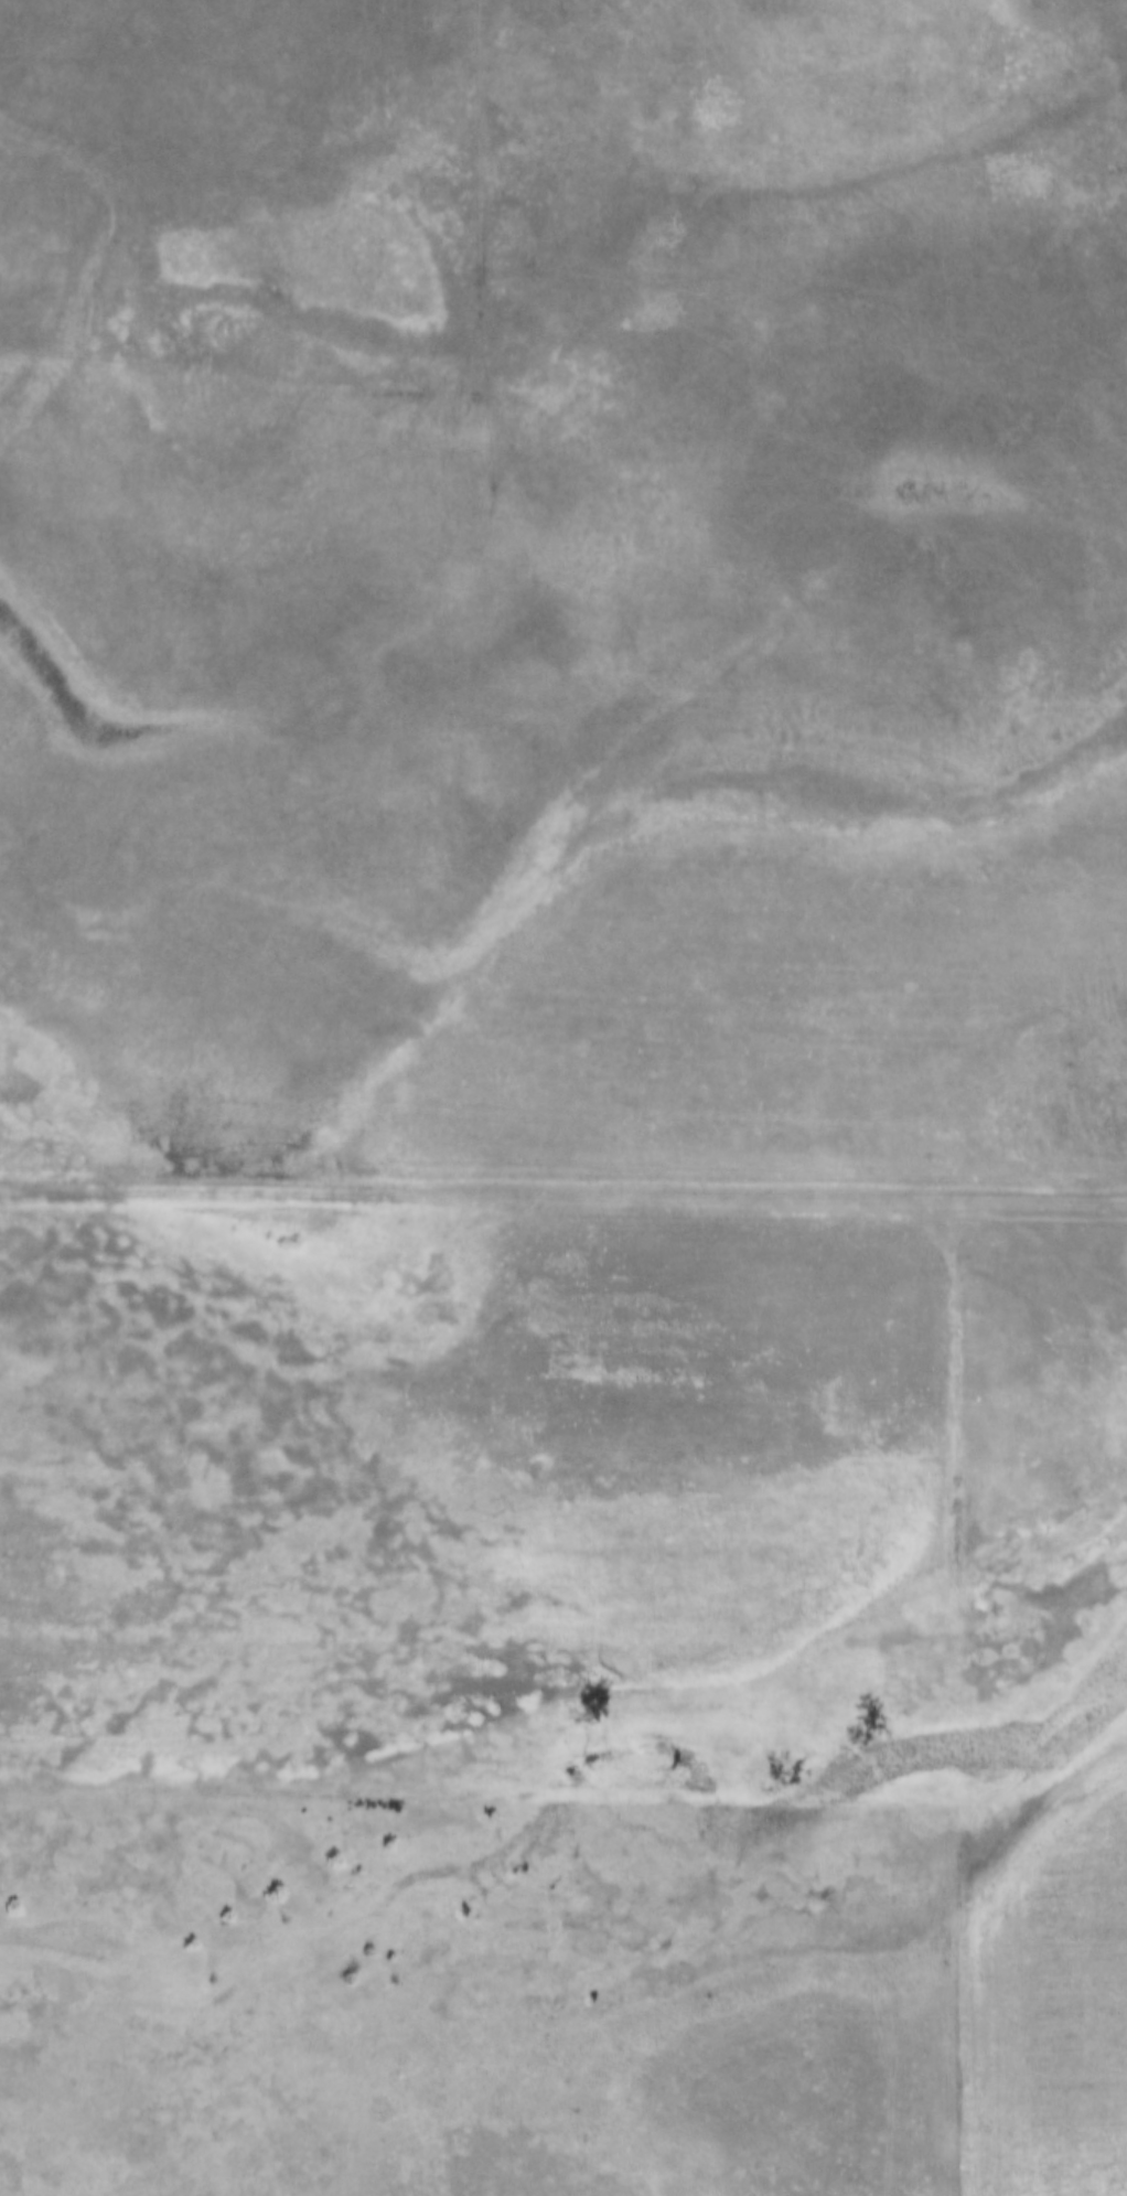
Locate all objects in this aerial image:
road: (563, 1196)

